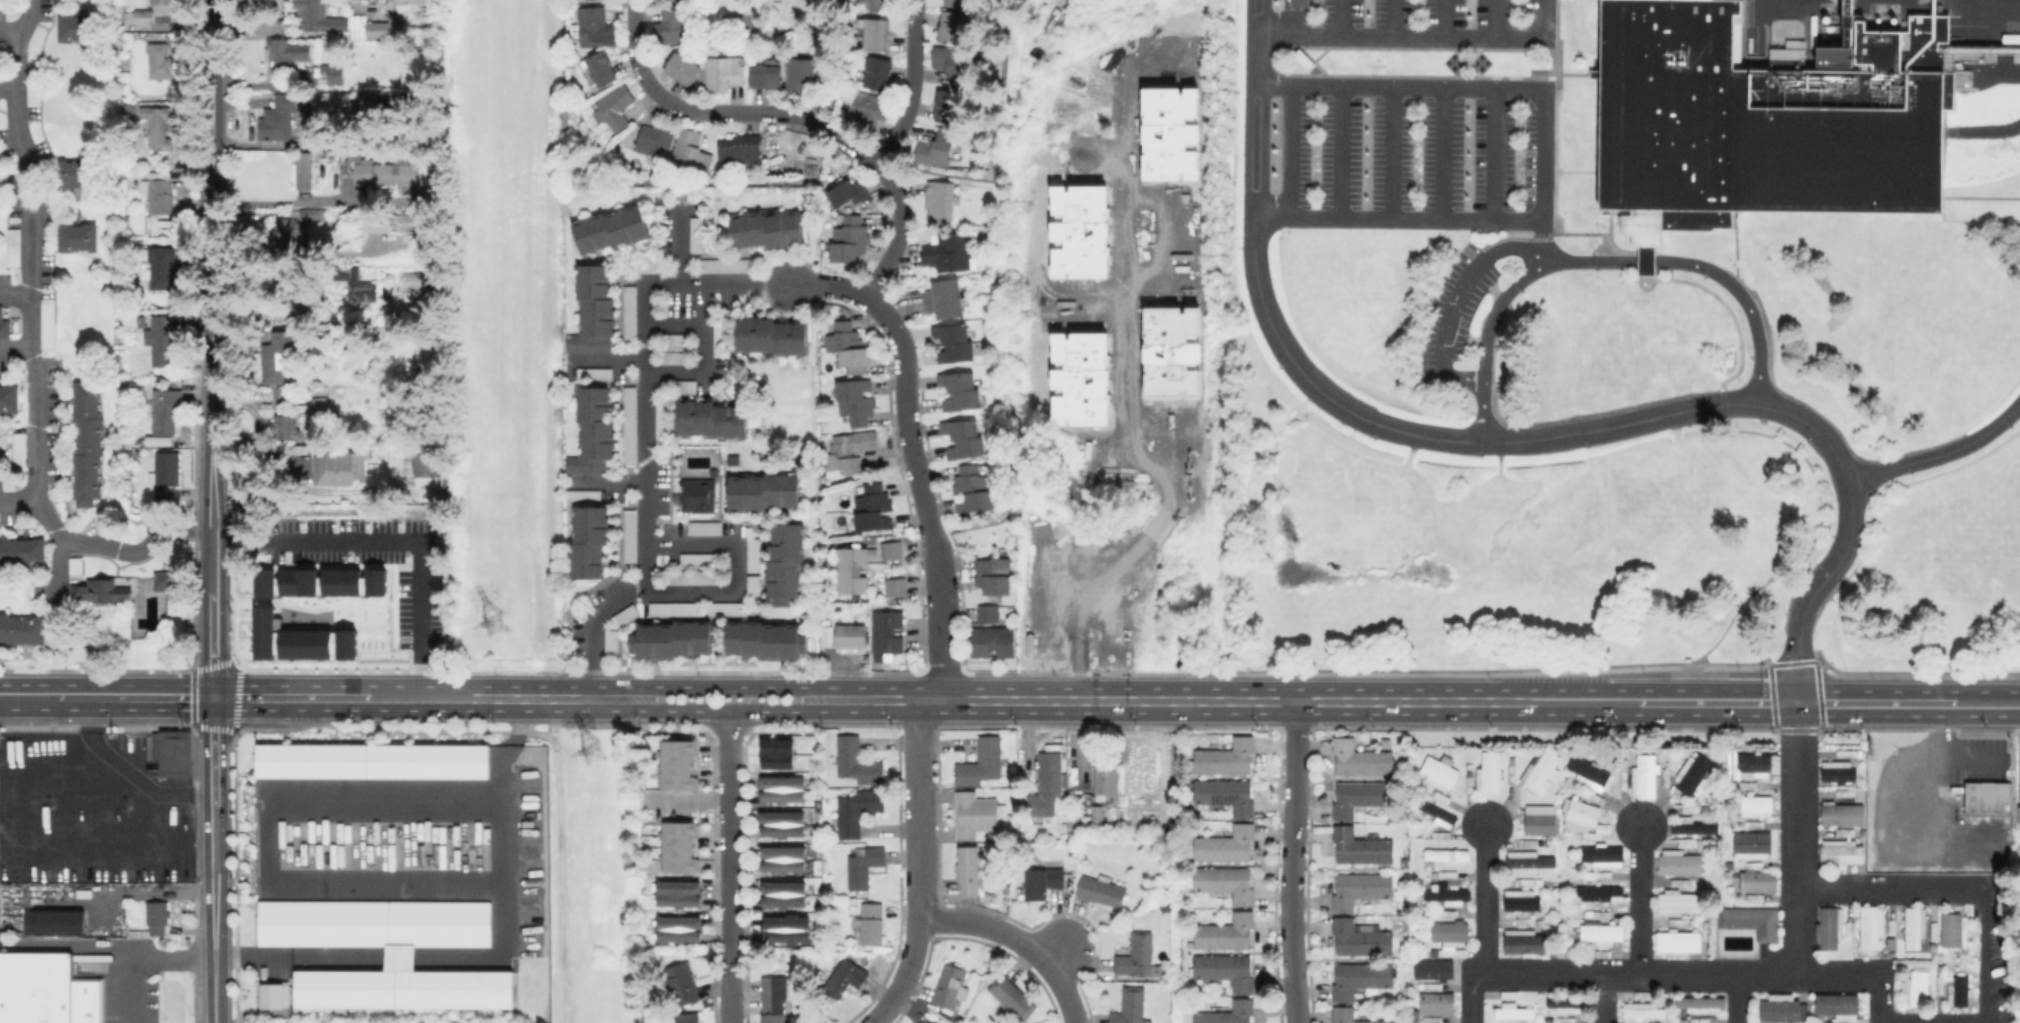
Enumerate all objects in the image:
building: (163, 1)
building: (963, 1)
building: (1300, 3)
building: (876, 4)
building: (144, 16)
road: (1554, 22)
building: (339, 23)
building: (673, 25)
building: (952, 25)
building: (79, 27)
building: (594, 27)
road: (8, 28)
building: (877, 34)
road: (1418, 35)
road: (1558, 51)
building: (287, 52)
building: (128, 61)
building: (161, 61)
building: (951, 61)
building: (602, 68)
building: (683, 68)
building: (804, 72)
building: (878, 72)
building: (334, 73)
building: (724, 73)
road: (1568, 74)
building: (767, 76)
building: (35, 86)
road: (912, 86)
road: (8, 88)
building: (331, 102)
building: (949, 106)
building: (614, 107)
building: (868, 110)
road: (795, 116)
building: (1767, 116)
building: (279, 118)
road: (1553, 121)
building: (159, 126)
building: (656, 138)
building: (741, 148)
building: (937, 148)
building: (692, 149)
road: (1544, 153)
building: (304, 170)
building: (345, 171)
building: (79, 173)
building: (388, 175)
road: (1553, 179)
road: (211, 191)
building: (847, 192)
building: (162, 196)
road: (280, 200)
building: (940, 201)
building: (336, 212)
building: (411, 224)
building: (295, 226)
building: (378, 227)
road: (1544, 227)
building: (612, 230)
building: (769, 231)
road: (1582, 233)
building: (698, 235)
building: (80, 238)
building: (141, 238)
building: (850, 239)
building: (1648, 244)
building: (14, 246)
road: (34, 248)
building: (949, 251)
road: (1615, 251)
road: (1640, 251)
road: (1644, 262)
road: (1644, 265)
building: (163, 266)
building: (651, 266)
building: (729, 266)
building: (414, 282)
building: (357, 284)
road: (828, 286)
road: (17, 288)
road: (1458, 295)
road: (1713, 295)
building: (945, 299)
road: (1504, 299)
road: (1747, 301)
building: (597, 303)
building: (631, 311)
road: (1119, 316)
building: (49, 322)
building: (5, 324)
building: (261, 332)
building: (722, 337)
building: (773, 338)
building: (162, 339)
building: (676, 340)
building: (955, 342)
building: (590, 344)
road: (699, 345)
building: (850, 347)
road: (17, 349)
building: (279, 355)
building: (677, 358)
building: (596, 375)
building: (686, 387)
building: (961, 390)
building: (11, 398)
building: (319, 401)
building: (856, 401)
road: (1721, 402)
building: (165, 412)
road: (1646, 419)
building: (712, 420)
building: (592, 422)
building: (664, 423)
building: (631, 426)
building: (286, 427)
road: (646, 432)
building: (964, 438)
building: (90, 441)
road: (211, 448)
building: (291, 449)
building: (20, 450)
building: (849, 451)
road: (1939, 452)
building: (428, 460)
building: (584, 464)
building: (338, 469)
building: (167, 476)
building: (973, 488)
building: (765, 493)
road: (920, 493)
building: (700, 496)
building: (585, 497)
building: (873, 507)
building: (706, 529)
road: (1155, 532)
building: (631, 537)
building: (590, 542)
road: (391, 546)
road: (108, 548)
building: (889, 549)
building: (23, 551)
building: (755, 556)
building: (699, 561)
road: (1793, 563)
building: (787, 565)
building: (78, 566)
road: (728, 569)
building: (850, 569)
building: (994, 576)
building: (693, 578)
building: (165, 580)
building: (893, 586)
building: (755, 587)
building: (101, 590)
road: (212, 604)
building: (259, 605)
building: (677, 609)
building: (729, 610)
road: (1082, 611)
building: (985, 613)
building: (627, 616)
power tower: (494, 621)
building: (23, 629)
building: (888, 632)
building: (850, 636)
building: (675, 641)
building: (767, 641)
building: (979, 641)
building: (1001, 641)
building: (612, 644)
road: (1767, 667)
road: (729, 687)
road: (106, 697)
traffic signals: (213, 697)
road: (330, 697)
road: (521, 698)
road: (604, 698)
road: (746, 699)
road: (1433, 701)
traffic signals: (1797, 702)
road: (728, 712)
road: (1956, 749)
building: (1850, 752)
building: (176, 753)
building: (1227, 758)
building: (1361, 759)
building: (373, 762)
building: (857, 762)
building: (982, 763)
building: (1754, 764)
building: (680, 765)
building: (1512, 770)
building: (1541, 771)
building: (1838, 771)
building: (1490, 772)
building: (1590, 772)
road: (128, 773)
building: (1440, 773)
building: (1694, 773)
building: (1624, 774)
building: (1470, 775)
building: (1645, 776)
building: (1106, 779)
building: (1667, 781)
building: (1047, 784)
building: (1755, 785)
building: (785, 789)
building: (1846, 792)
building: (1227, 796)
building: (1596, 797)
building: (1360, 798)
building: (1989, 800)
rooftop solar panel: (1221, 801)
building: (1757, 805)
road: (917, 808)
building: (1545, 809)
building: (1696, 810)
building: (858, 811)
building: (1097, 813)
building: (1440, 814)
building: (974, 815)
building: (1843, 815)
building: (2018, 816)
building: (1583, 818)
building: (785, 824)
building: (1755, 824)
building: (1536, 825)
building: (1692, 825)
road: (730, 828)
building: (1845, 832)
building: (1442, 834)
building: (1529, 842)
building: (1227, 845)
building: (1752, 846)
building: (1361, 847)
building: (681, 848)
building: (1841, 853)
building: (1603, 855)
building: (131, 857)
building: (1448, 857)
building: (1524, 858)
building: (783, 859)
building: (1681, 859)
road: (213, 860)
road: (1292, 862)
building: (1755, 864)
building: (864, 867)
building: (968, 870)
building: (1449, 874)
building: (1599, 874)
building: (1756, 880)
building: (1526, 881)
building: (1043, 882)
building: (1227, 882)
building: (1539, 882)
building: (1684, 882)
building: (1360, 889)
road: (1891, 889)
building: (1101, 890)
building: (1600, 892)
building: (680, 894)
building: (1448, 894)
building: (784, 895)
road: (1486, 898)
building: (1751, 898)
building: (1522, 899)
building: (1680, 899)
road: (1641, 900)
building: (1447, 912)
building: (1603, 913)
building: (157, 916)
building: (1752, 920)
building: (1526, 921)
building: (55, 922)
building: (872, 923)
building: (1831, 926)
building: (1872, 926)
building: (1915, 928)
building: (681, 929)
building: (1850, 930)
building: (1934, 930)
building: (1973, 930)
building: (786, 931)
building: (1892, 931)
building: (1954, 931)
building: (1226, 933)
building: (1604, 934)
building: (1450, 936)
building: (1360, 939)
road: (1019, 940)
building: (1524, 942)
building: (1679, 942)
road: (76, 944)
road: (1059, 946)
building: (388, 953)
building: (1602, 953)
road: (1985, 956)
road: (288, 957)
building: (1138, 957)
road: (139, 958)
building: (1227, 970)
building: (1437, 971)
road: (1672, 974)
road: (904, 976)
building: (846, 977)
building: (1361, 979)
building: (683, 983)
road: (732, 983)
building: (1897, 984)
building: (1940, 985)
building: (951, 986)
building: (1431, 986)
building: (1918, 988)
building: (46, 990)
building: (1510, 994)
building: (1778, 994)
building: (1959, 994)
building: (1644, 995)
building: (273, 997)
building: (1013, 997)
building: (774, 998)
road: (1604, 998)
road: (1739, 998)
building: (1438, 1003)
building: (1569, 1004)
building: (1702, 1004)
building: (1130, 1006)
building: (1838, 1006)
building: (1512, 1009)
building: (1642, 1010)
building: (1781, 1011)
building: (1229, 1013)
building: (1349, 1016)
building: (688, 1018)
building: (1434, 1019)
building: (1695, 1020)
building: (932, 1021)
building: (936, 1022)

